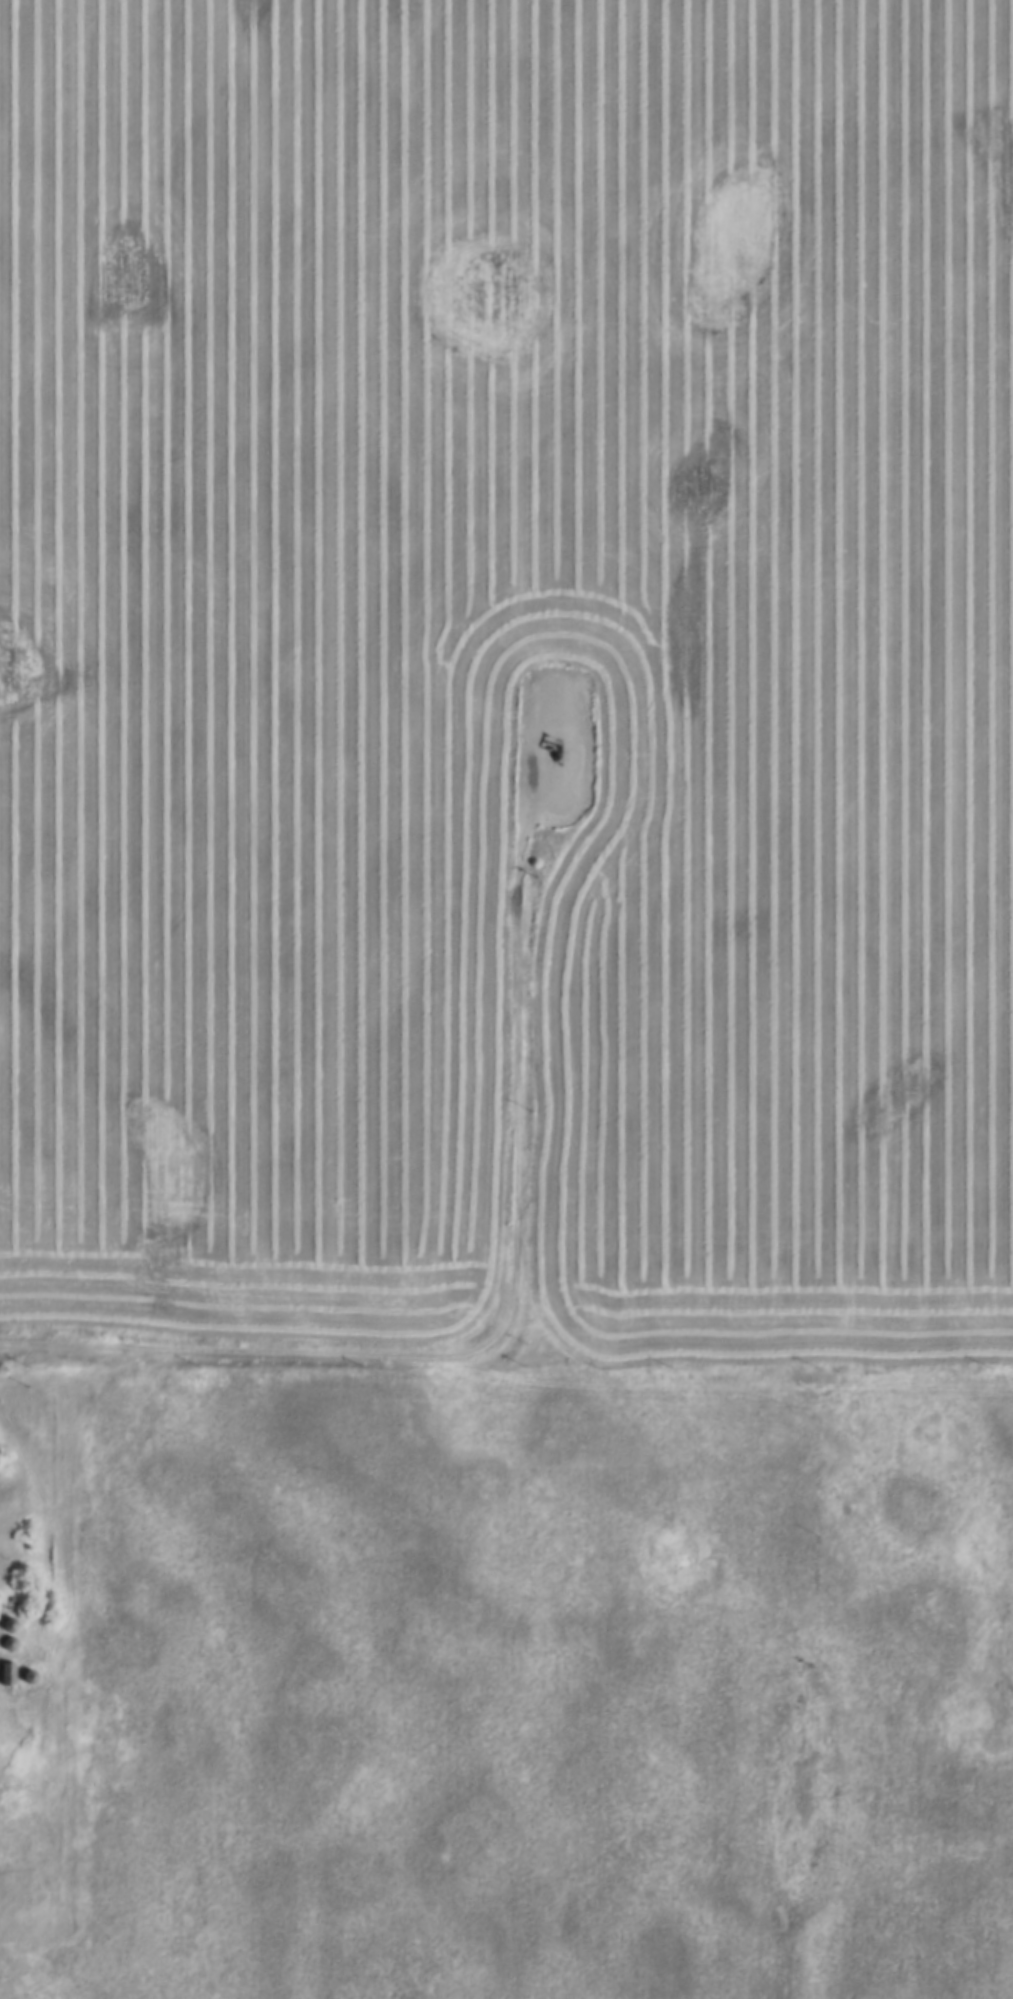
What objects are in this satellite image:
road: (507, 1300)
building: (4, 1613)
silo: (4, 1613)
building: (4, 1633)
silo: (4, 1633)
building: (10, 1642)
building: (3, 1663)
building: (23, 1665)
silo: (23, 1665)
building: (30, 1675)
road: (780, 1884)

